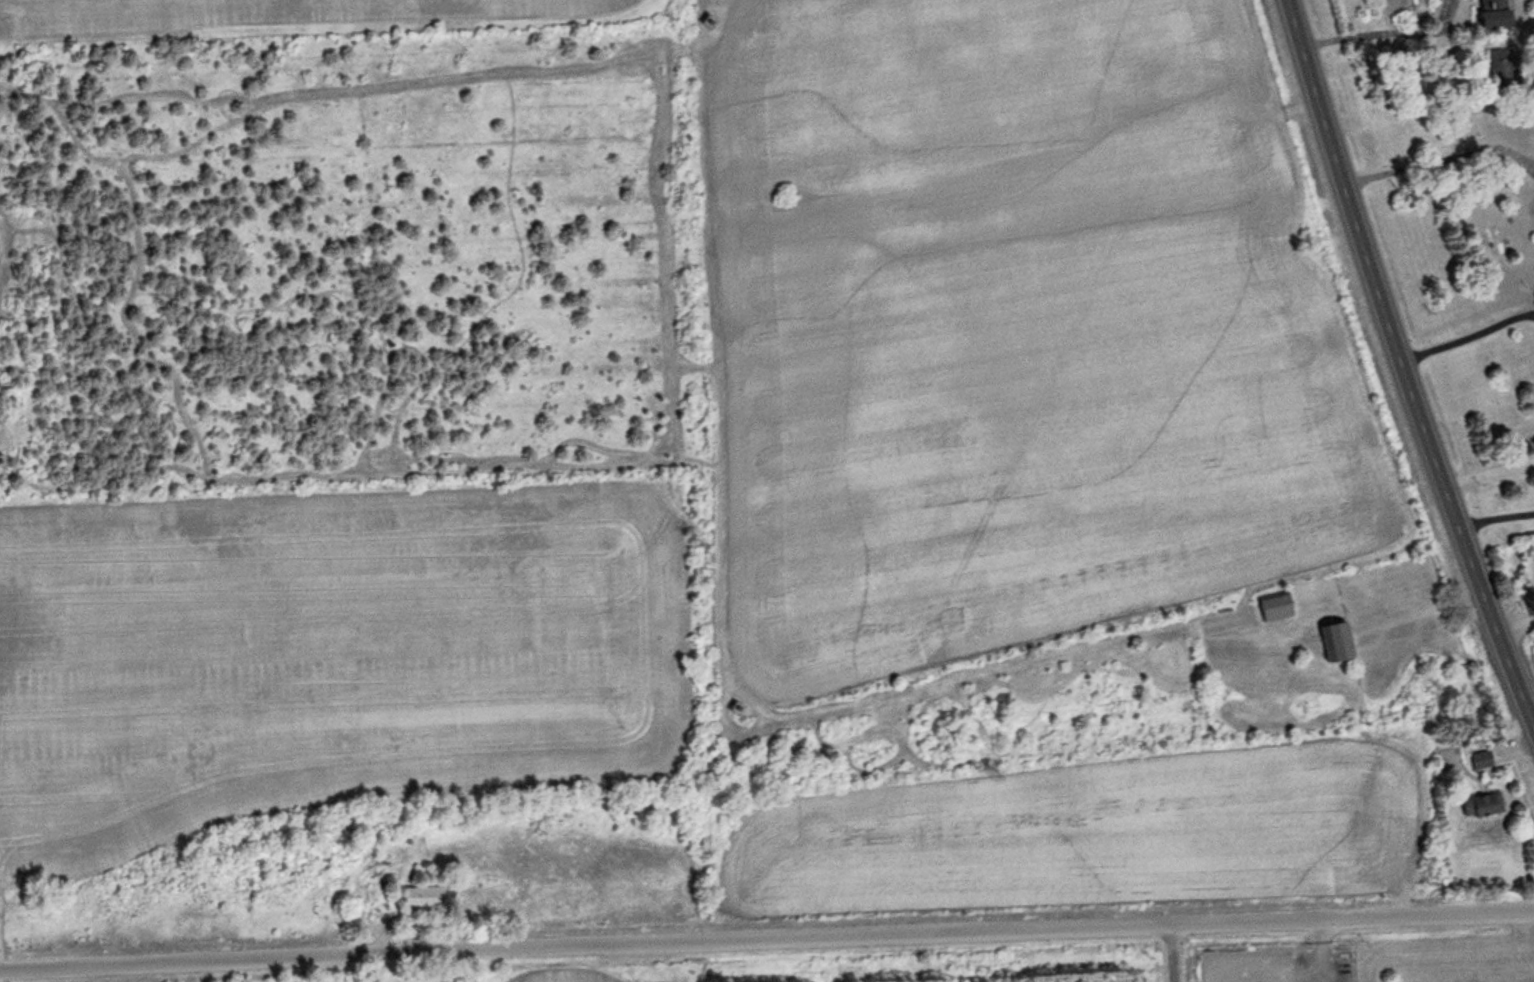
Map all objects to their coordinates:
building: (1483, 15)
building: (1497, 69)
building: (1532, 119)
road: (1403, 367)
building: (1283, 608)
building: (1343, 645)
building: (1447, 760)
building: (1474, 760)
building: (1475, 805)
building: (432, 897)
road: (766, 937)
road: (1163, 952)

